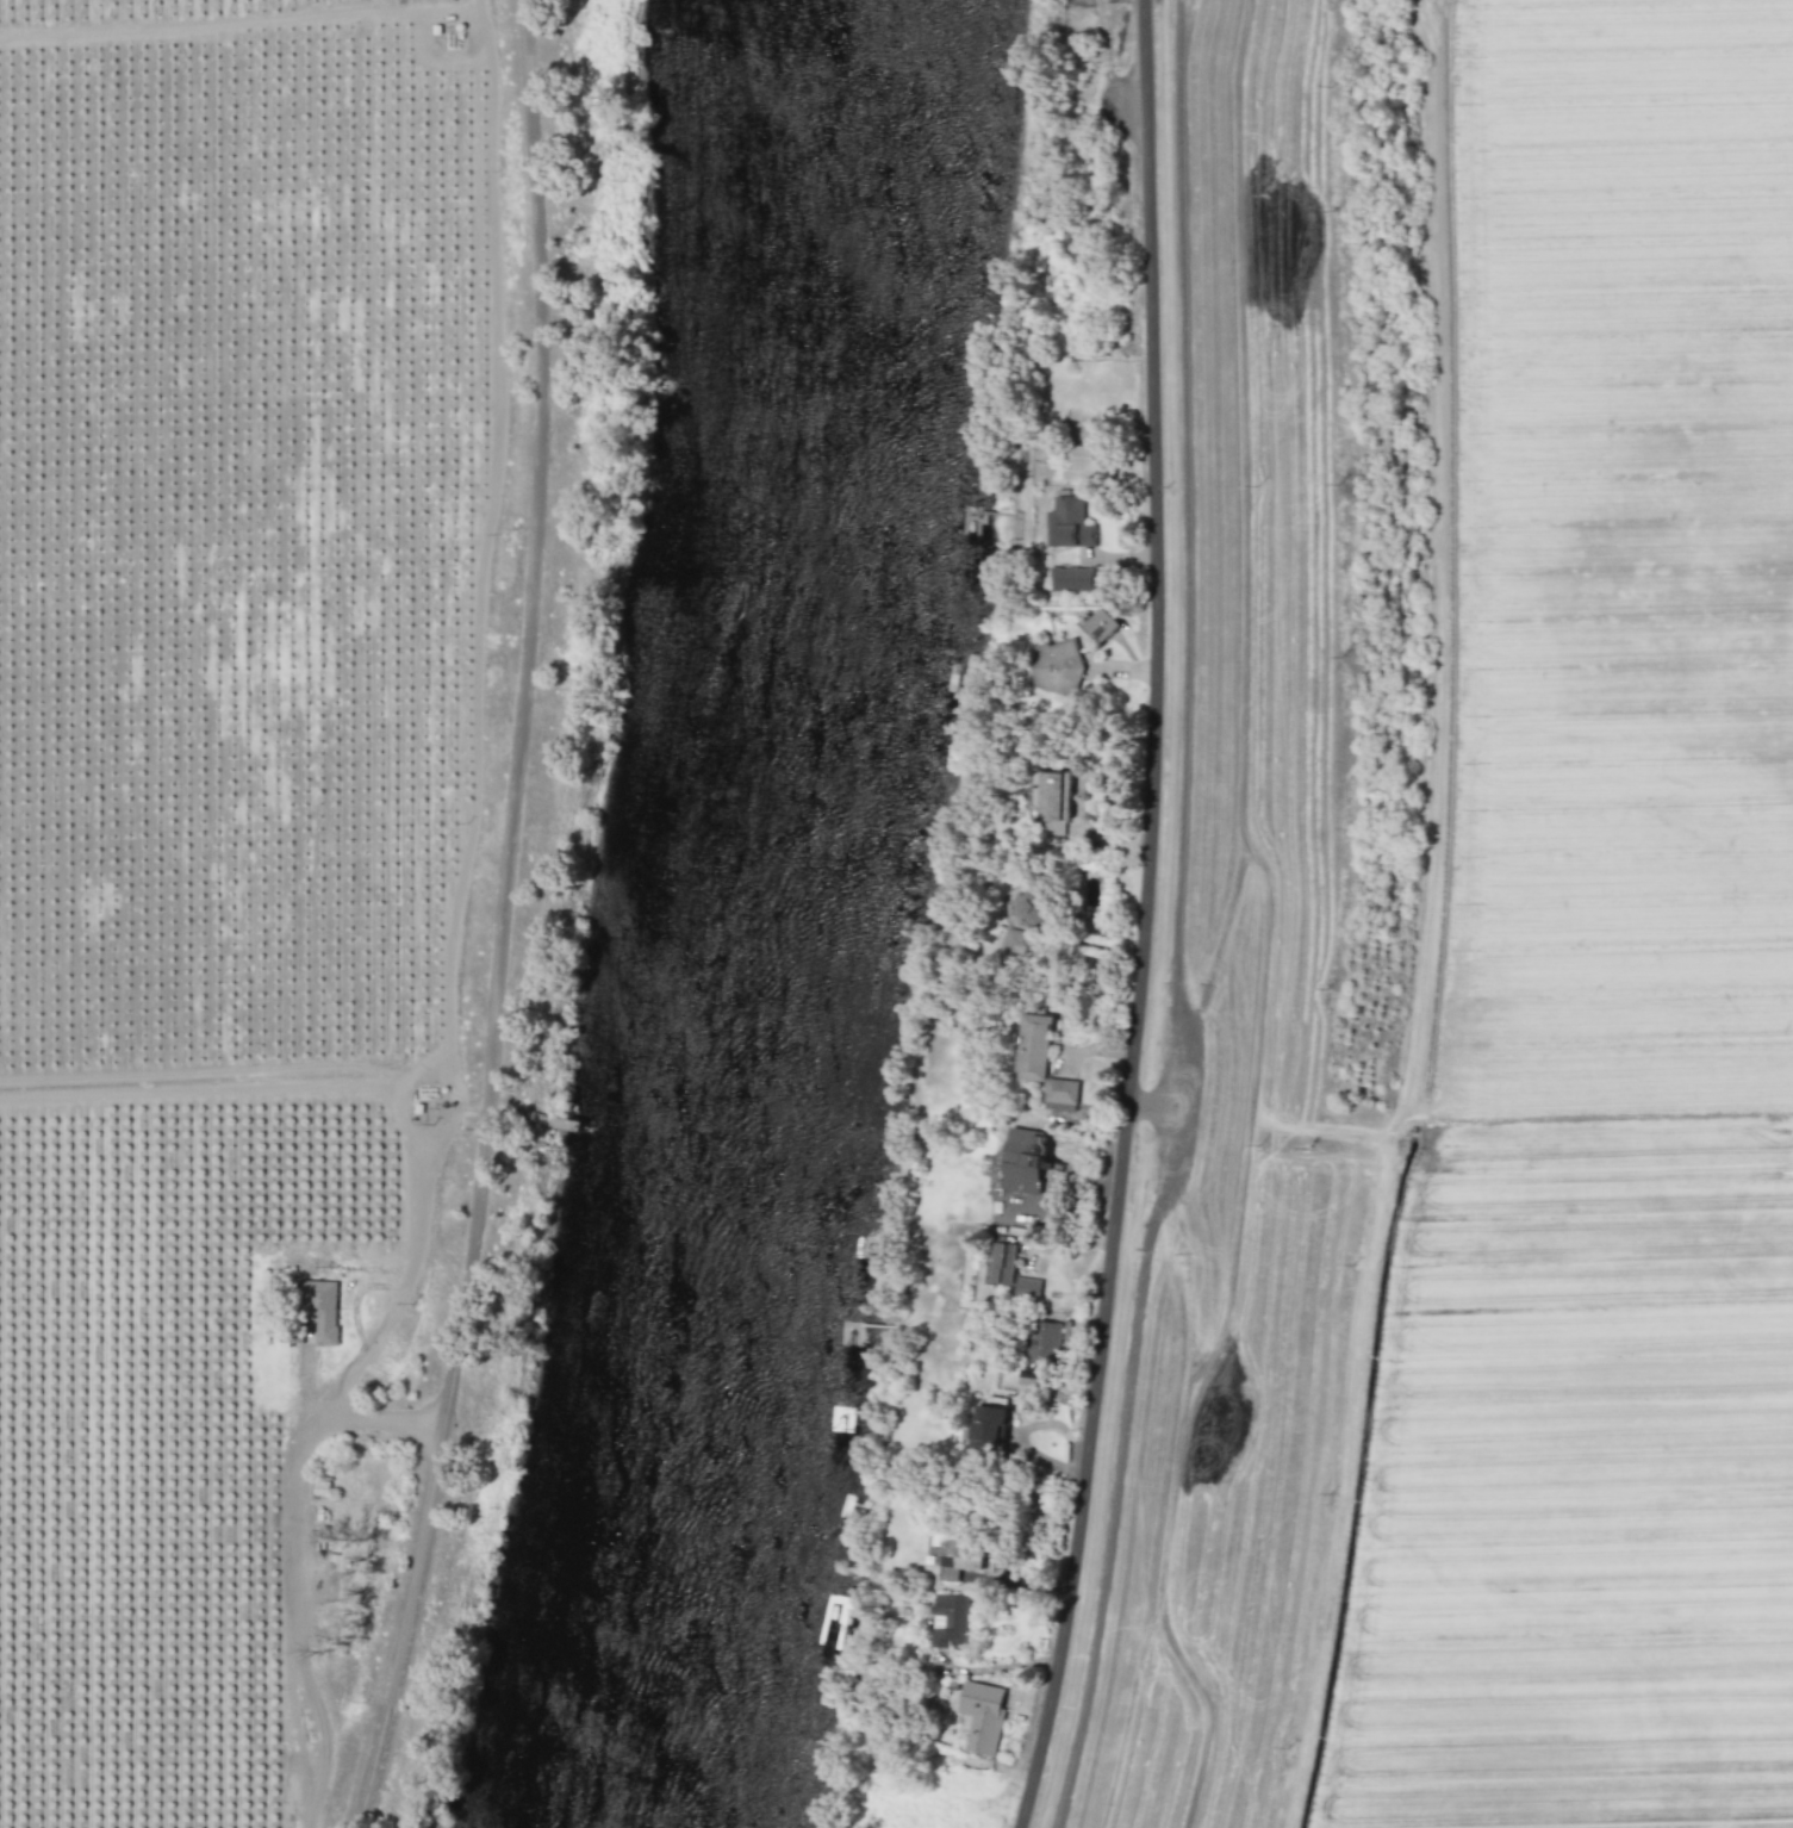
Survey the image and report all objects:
building: (1081, 455)
building: (1069, 523)
building: (1072, 578)
building: (1100, 623)
building: (1056, 665)
road: (475, 736)
building: (1051, 800)
crop: (255, 860)
river: (766, 914)
road: (1156, 918)
road: (512, 920)
building: (1010, 940)
building: (1032, 1045)
building: (1060, 1093)
building: (1023, 1159)
building: (1001, 1262)
building: (1026, 1286)
building: (320, 1307)
building: (1028, 1384)
road: (371, 1417)
building: (985, 1429)
building: (954, 1554)
building: (950, 1621)
building: (982, 1715)

